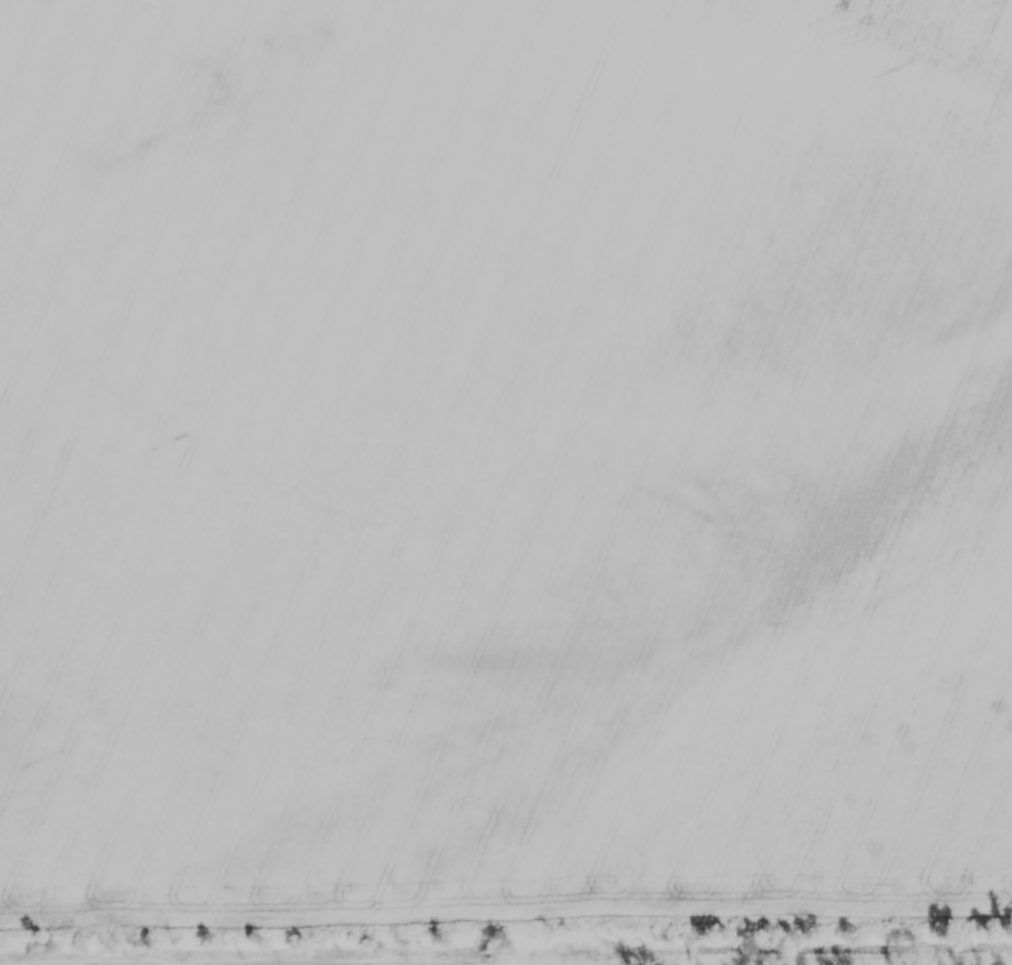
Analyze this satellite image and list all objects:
park: (513, 950)

